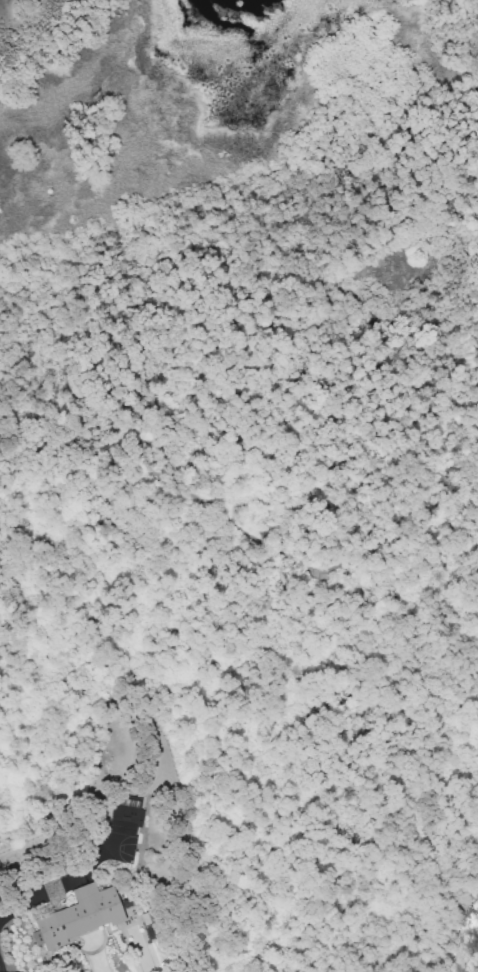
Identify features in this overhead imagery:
road: (253, 520)
building: (123, 817)
building: (137, 859)
building: (123, 894)
building: (130, 904)
building: (81, 917)
building: (41, 960)

